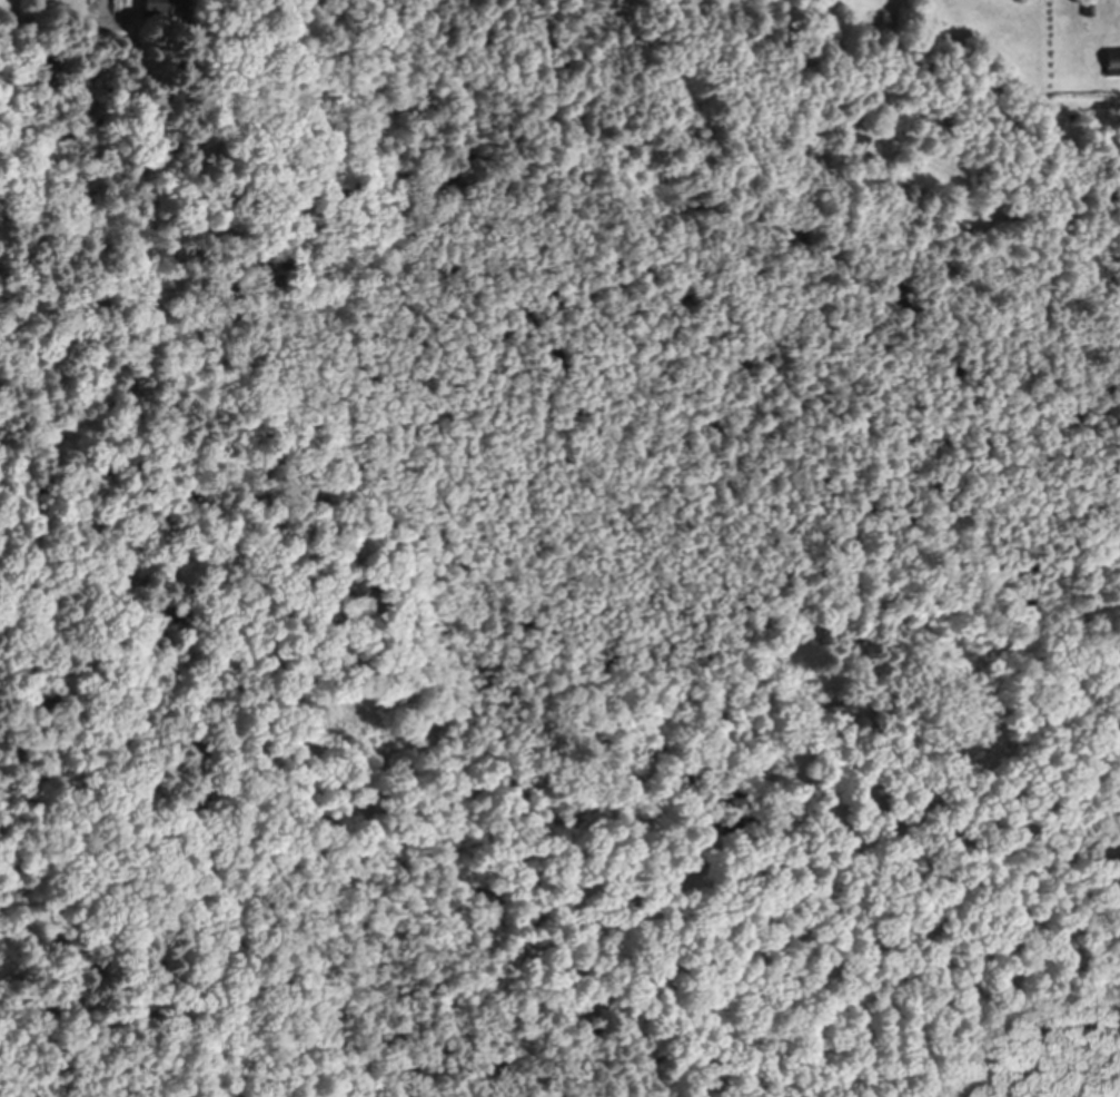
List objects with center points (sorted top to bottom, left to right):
building: (166, 7)
building: (1090, 7)
building: (1114, 58)
building: (1079, 113)

